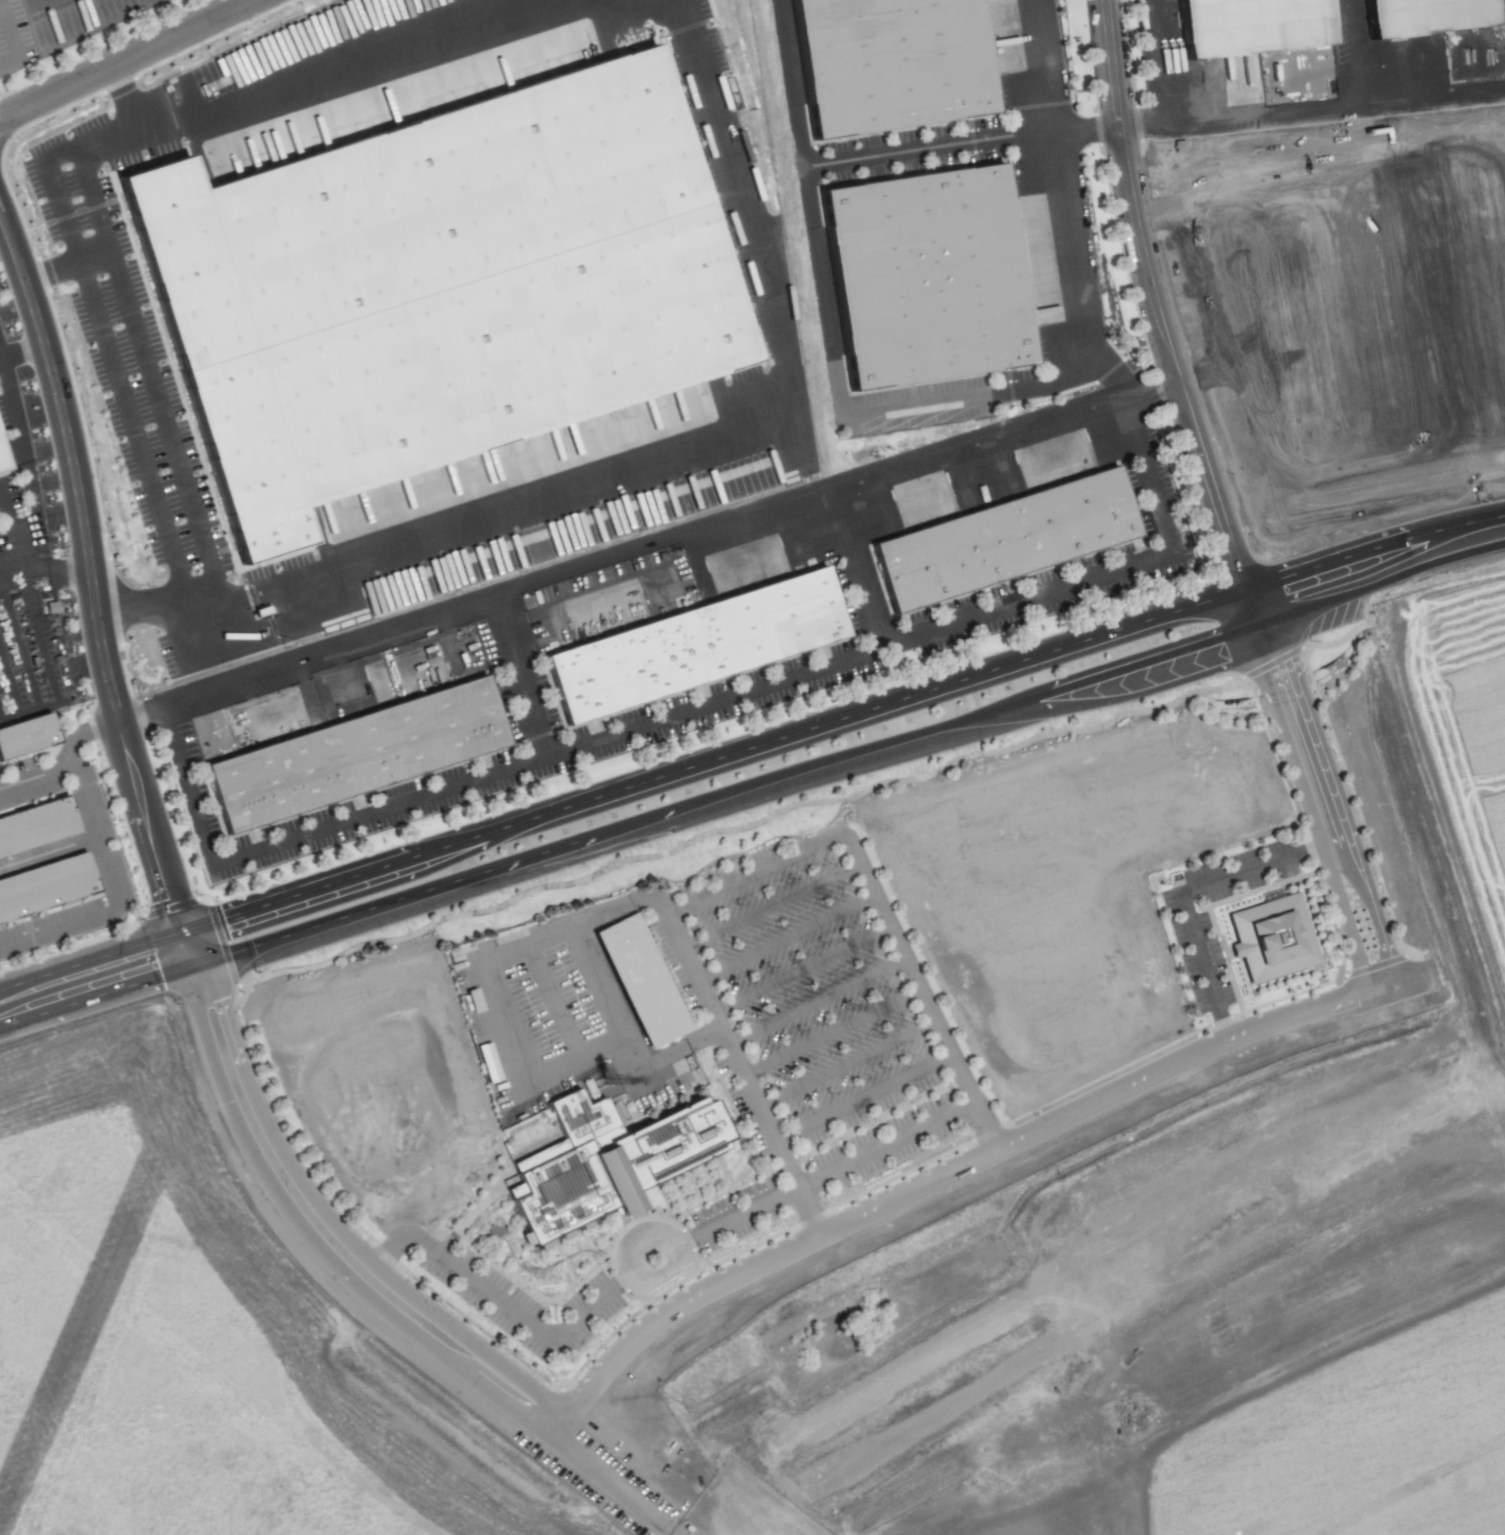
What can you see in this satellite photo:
road: (10, 5)
building: (1424, 13)
building: (1241, 23)
road: (1350, 52)
road: (127, 60)
building: (894, 64)
road: (358, 74)
road: (1273, 114)
road: (1086, 127)
road: (67, 148)
road: (926, 148)
building: (929, 281)
building: (433, 289)
road: (1155, 299)
road: (21, 351)
road: (943, 401)
road: (138, 448)
road: (678, 458)
road: (22, 469)
building: (1, 472)
road: (1471, 523)
building: (1000, 538)
road: (1423, 538)
road: (649, 549)
road: (1340, 560)
road: (854, 561)
road: (92, 577)
road: (45, 579)
road: (1379, 579)
road: (1329, 583)
road: (1249, 608)
building: (688, 640)
road: (1264, 645)
road: (518, 678)
road: (1115, 699)
road: (692, 709)
road: (85, 729)
building: (28, 740)
crop: (1444, 741)
building: (349, 752)
road: (1275, 759)
road: (712, 760)
road: (32, 769)
road: (721, 794)
road: (1331, 825)
building: (37, 826)
road: (745, 827)
road: (45, 854)
road: (775, 861)
building: (46, 885)
road: (107, 889)
road: (1183, 890)
road: (1207, 905)
road: (770, 907)
building: (1275, 937)
road: (785, 938)
traffic signals: (188, 943)
parking lot: (1198, 952)
road: (200, 959)
road: (800, 970)
road: (94, 971)
road: (1336, 974)
building: (640, 981)
road: (602, 993)
road: (815, 1001)
road: (830, 1033)
road: (845, 1064)
road: (1107, 1074)
road: (862, 1098)
building: (581, 1114)
road: (876, 1117)
road: (283, 1121)
road: (740, 1123)
building: (672, 1139)
road: (884, 1145)
road: (951, 1170)
road: (903, 1173)
building: (619, 1178)
building: (564, 1190)
road: (720, 1191)
road: (807, 1211)
road: (630, 1220)
road: (336, 1228)
road: (302, 1233)
road: (563, 1258)
road: (693, 1258)
road: (525, 1270)
road: (535, 1293)
road: (632, 1294)
road: (572, 1320)
airport: (205, 1339)
road: (589, 1355)
crop: (1362, 1448)

